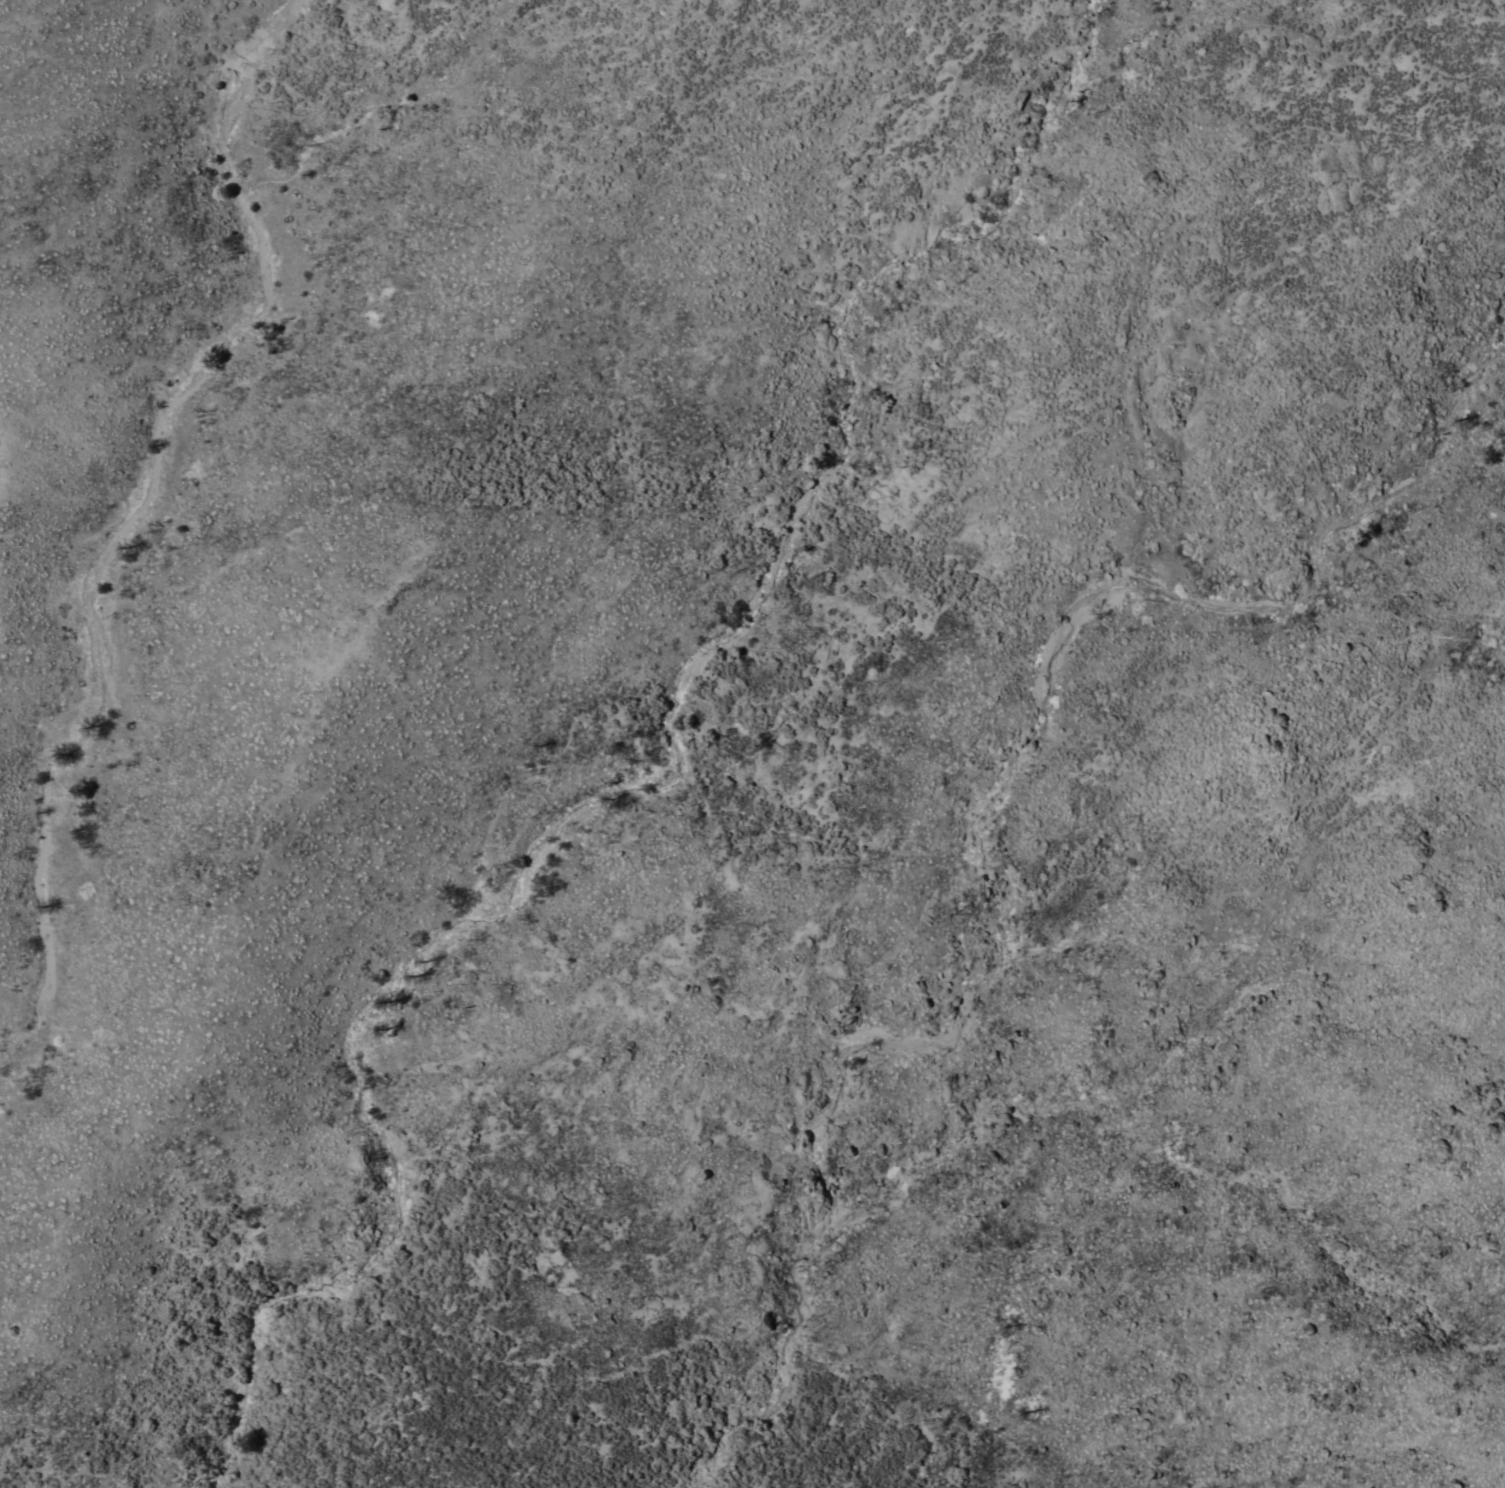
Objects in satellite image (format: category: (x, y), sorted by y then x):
road: (135, 530)

